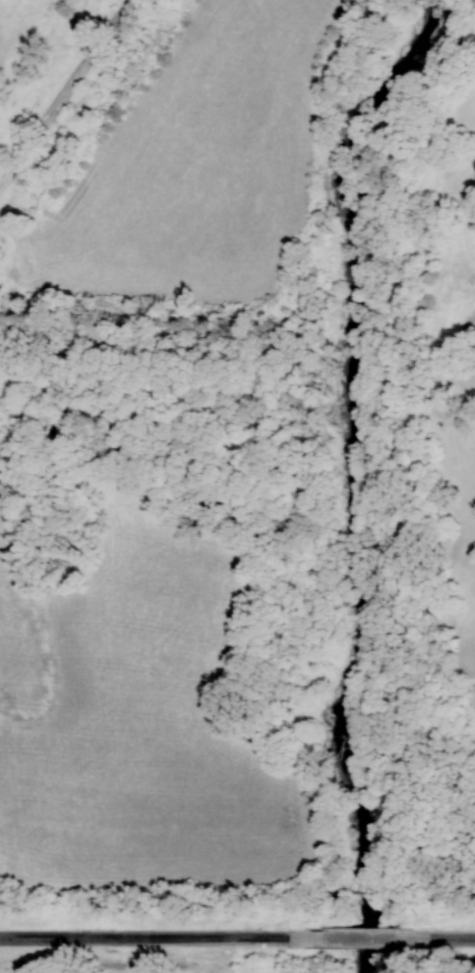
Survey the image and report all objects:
road: (237, 938)

